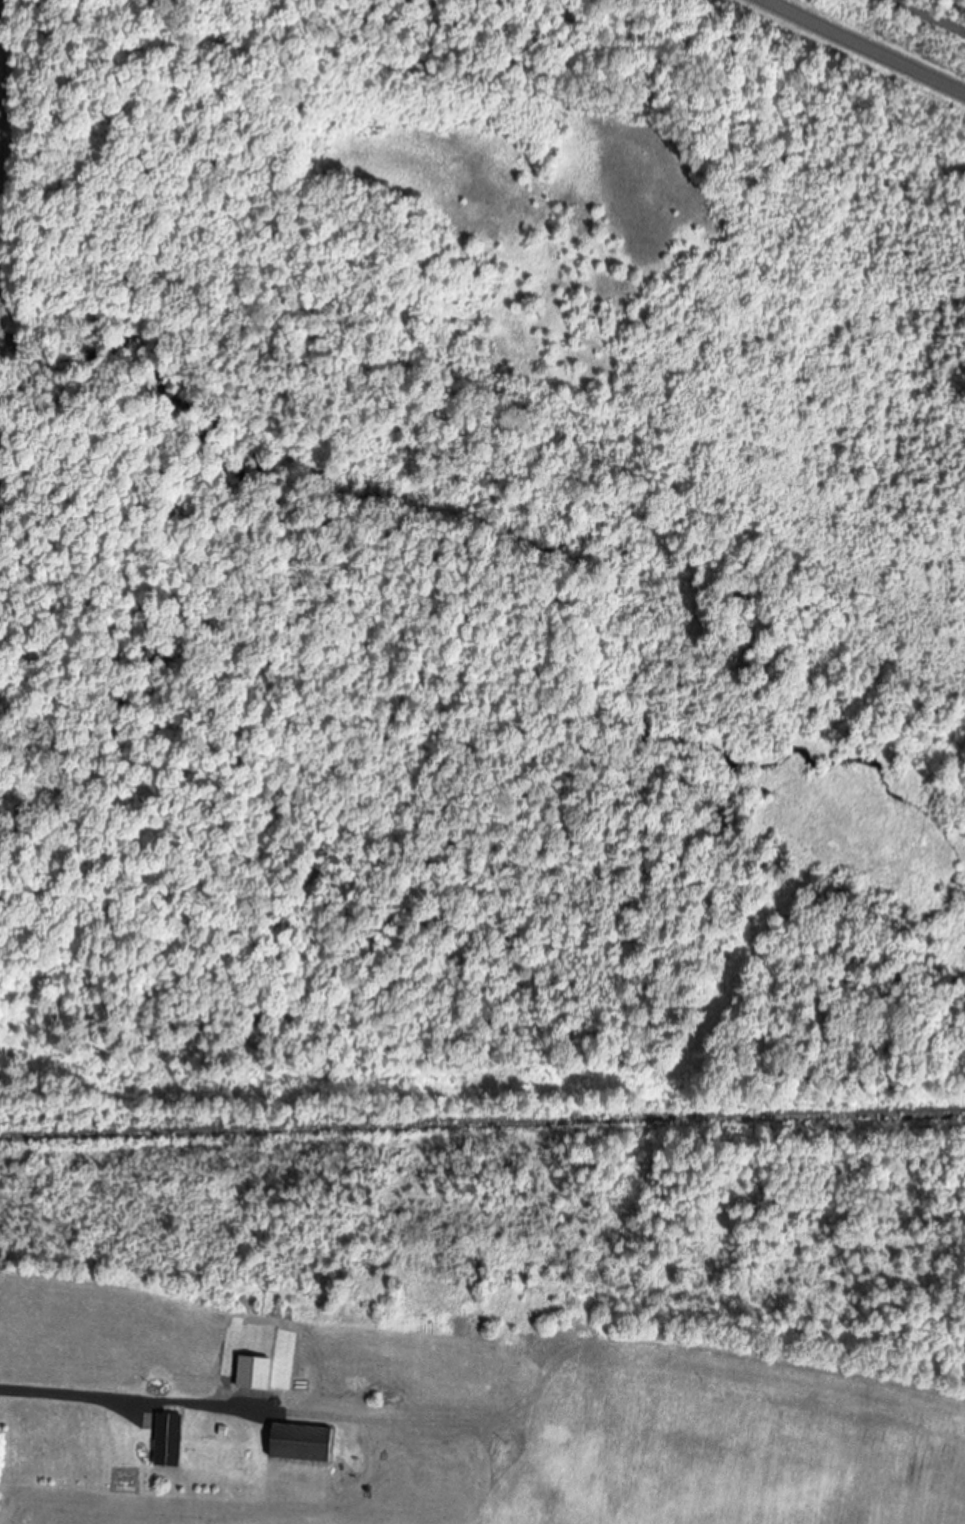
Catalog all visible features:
road: (936, 13)
road: (866, 46)
railway: (482, 1125)
road: (172, 1404)
building: (175, 1441)
building: (307, 1444)

